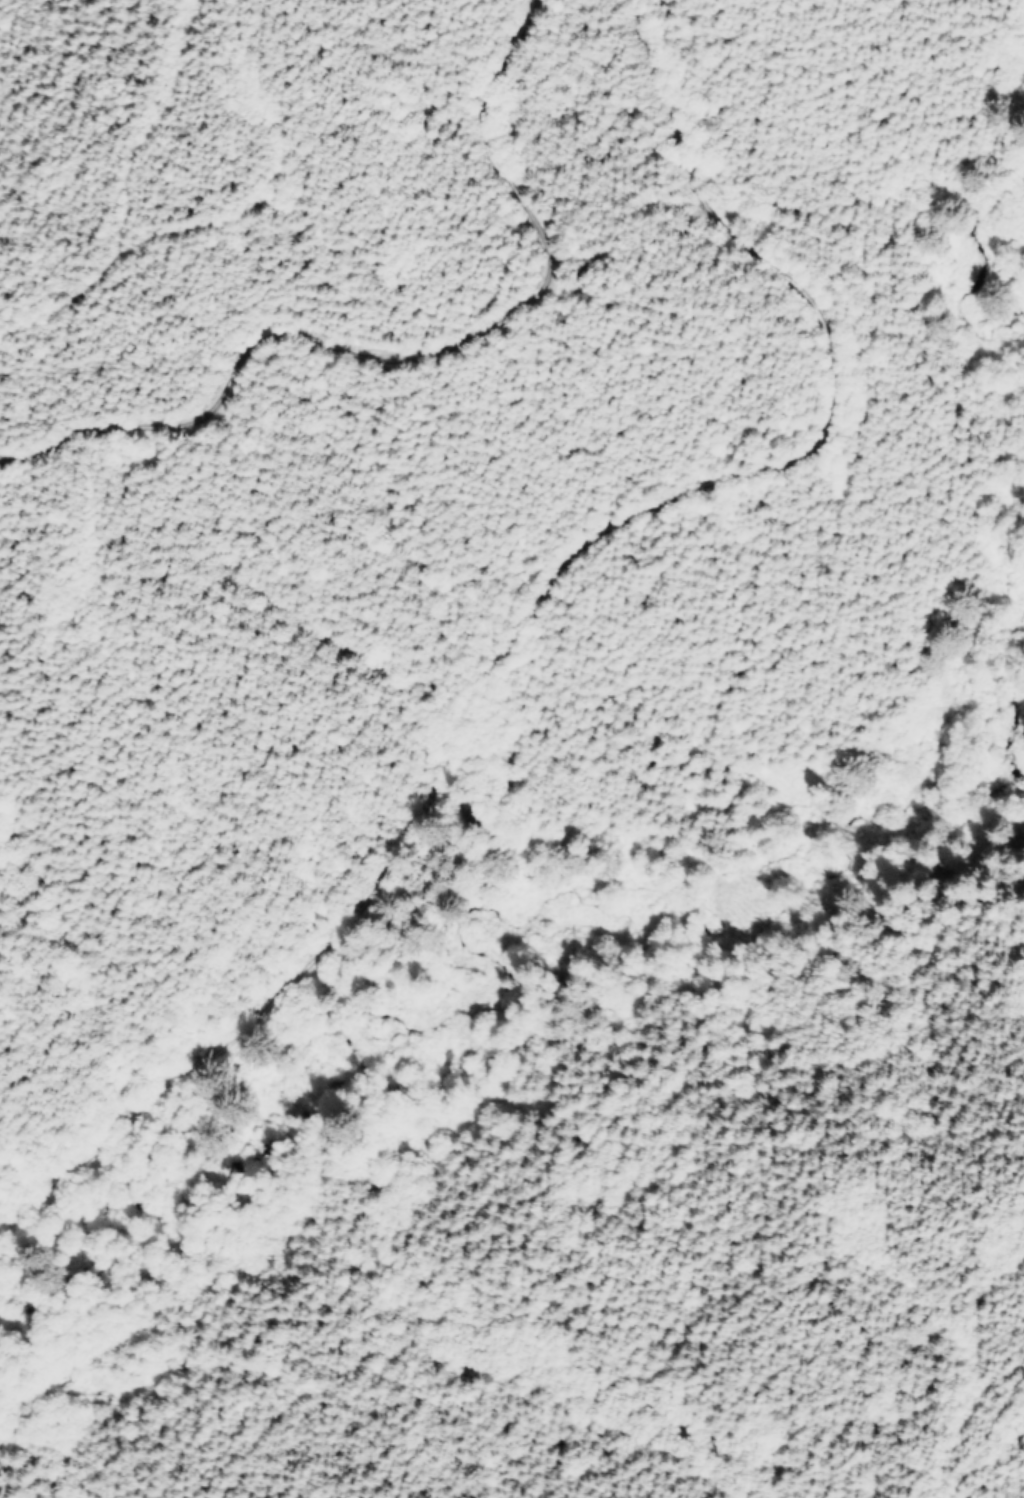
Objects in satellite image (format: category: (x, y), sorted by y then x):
road: (549, 652)

